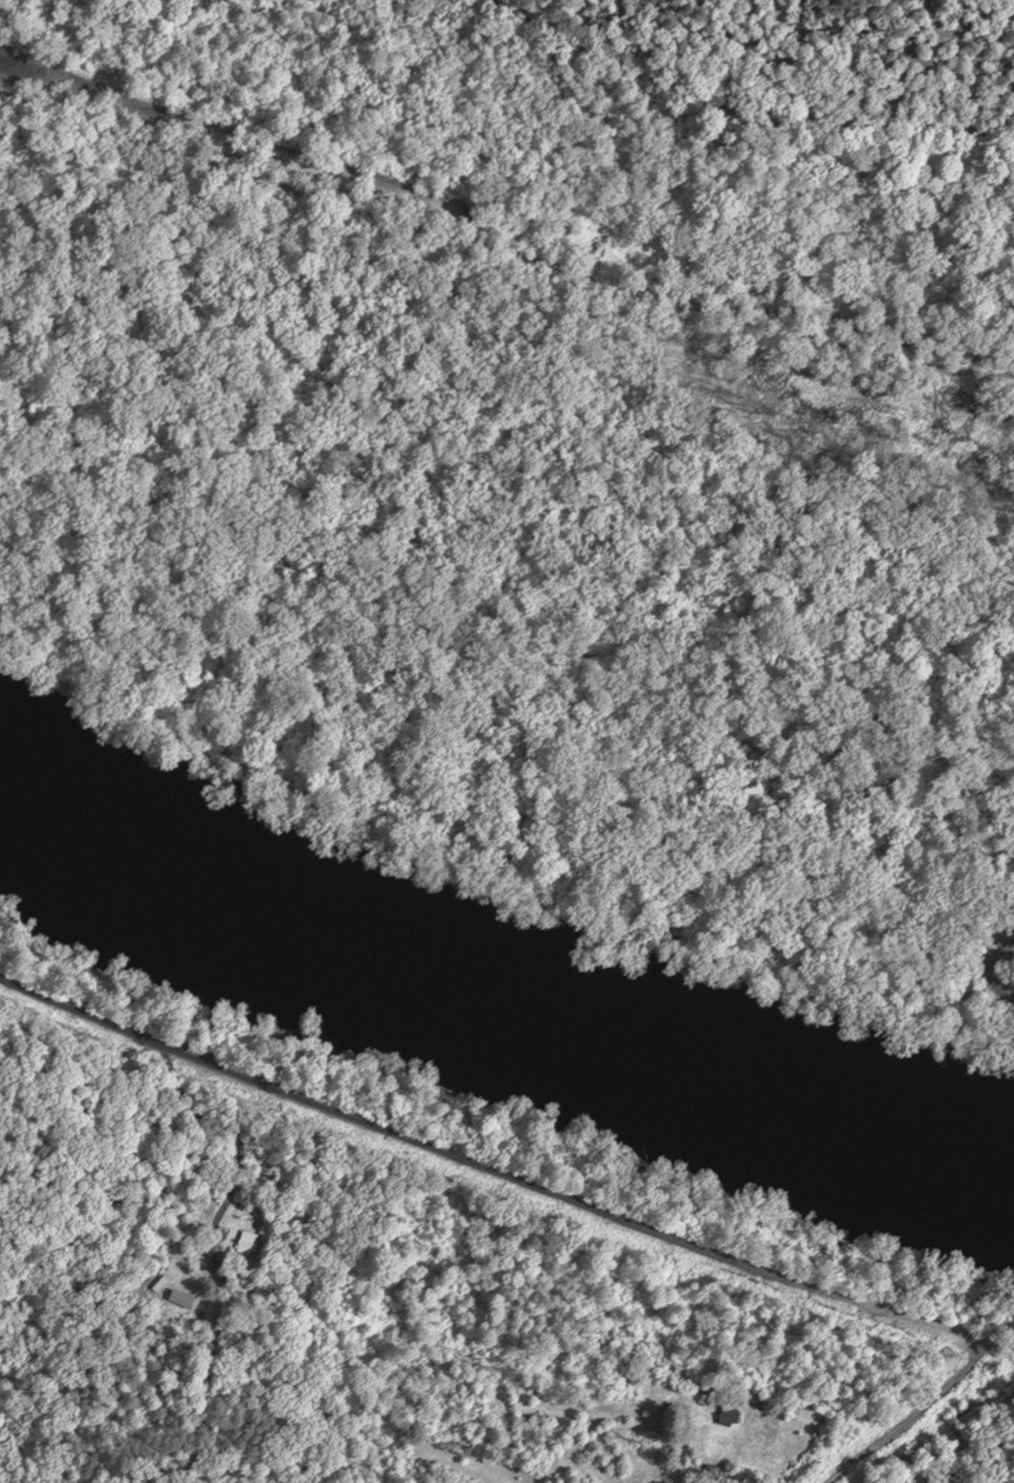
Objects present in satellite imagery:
road: (738, 113)
road: (502, 253)
road: (875, 927)
building: (1009, 929)
parking lot: (998, 955)
road: (967, 984)
river: (501, 995)
road: (504, 1172)
building: (246, 1242)
road: (211, 1371)
building: (730, 1415)
road: (913, 1416)

